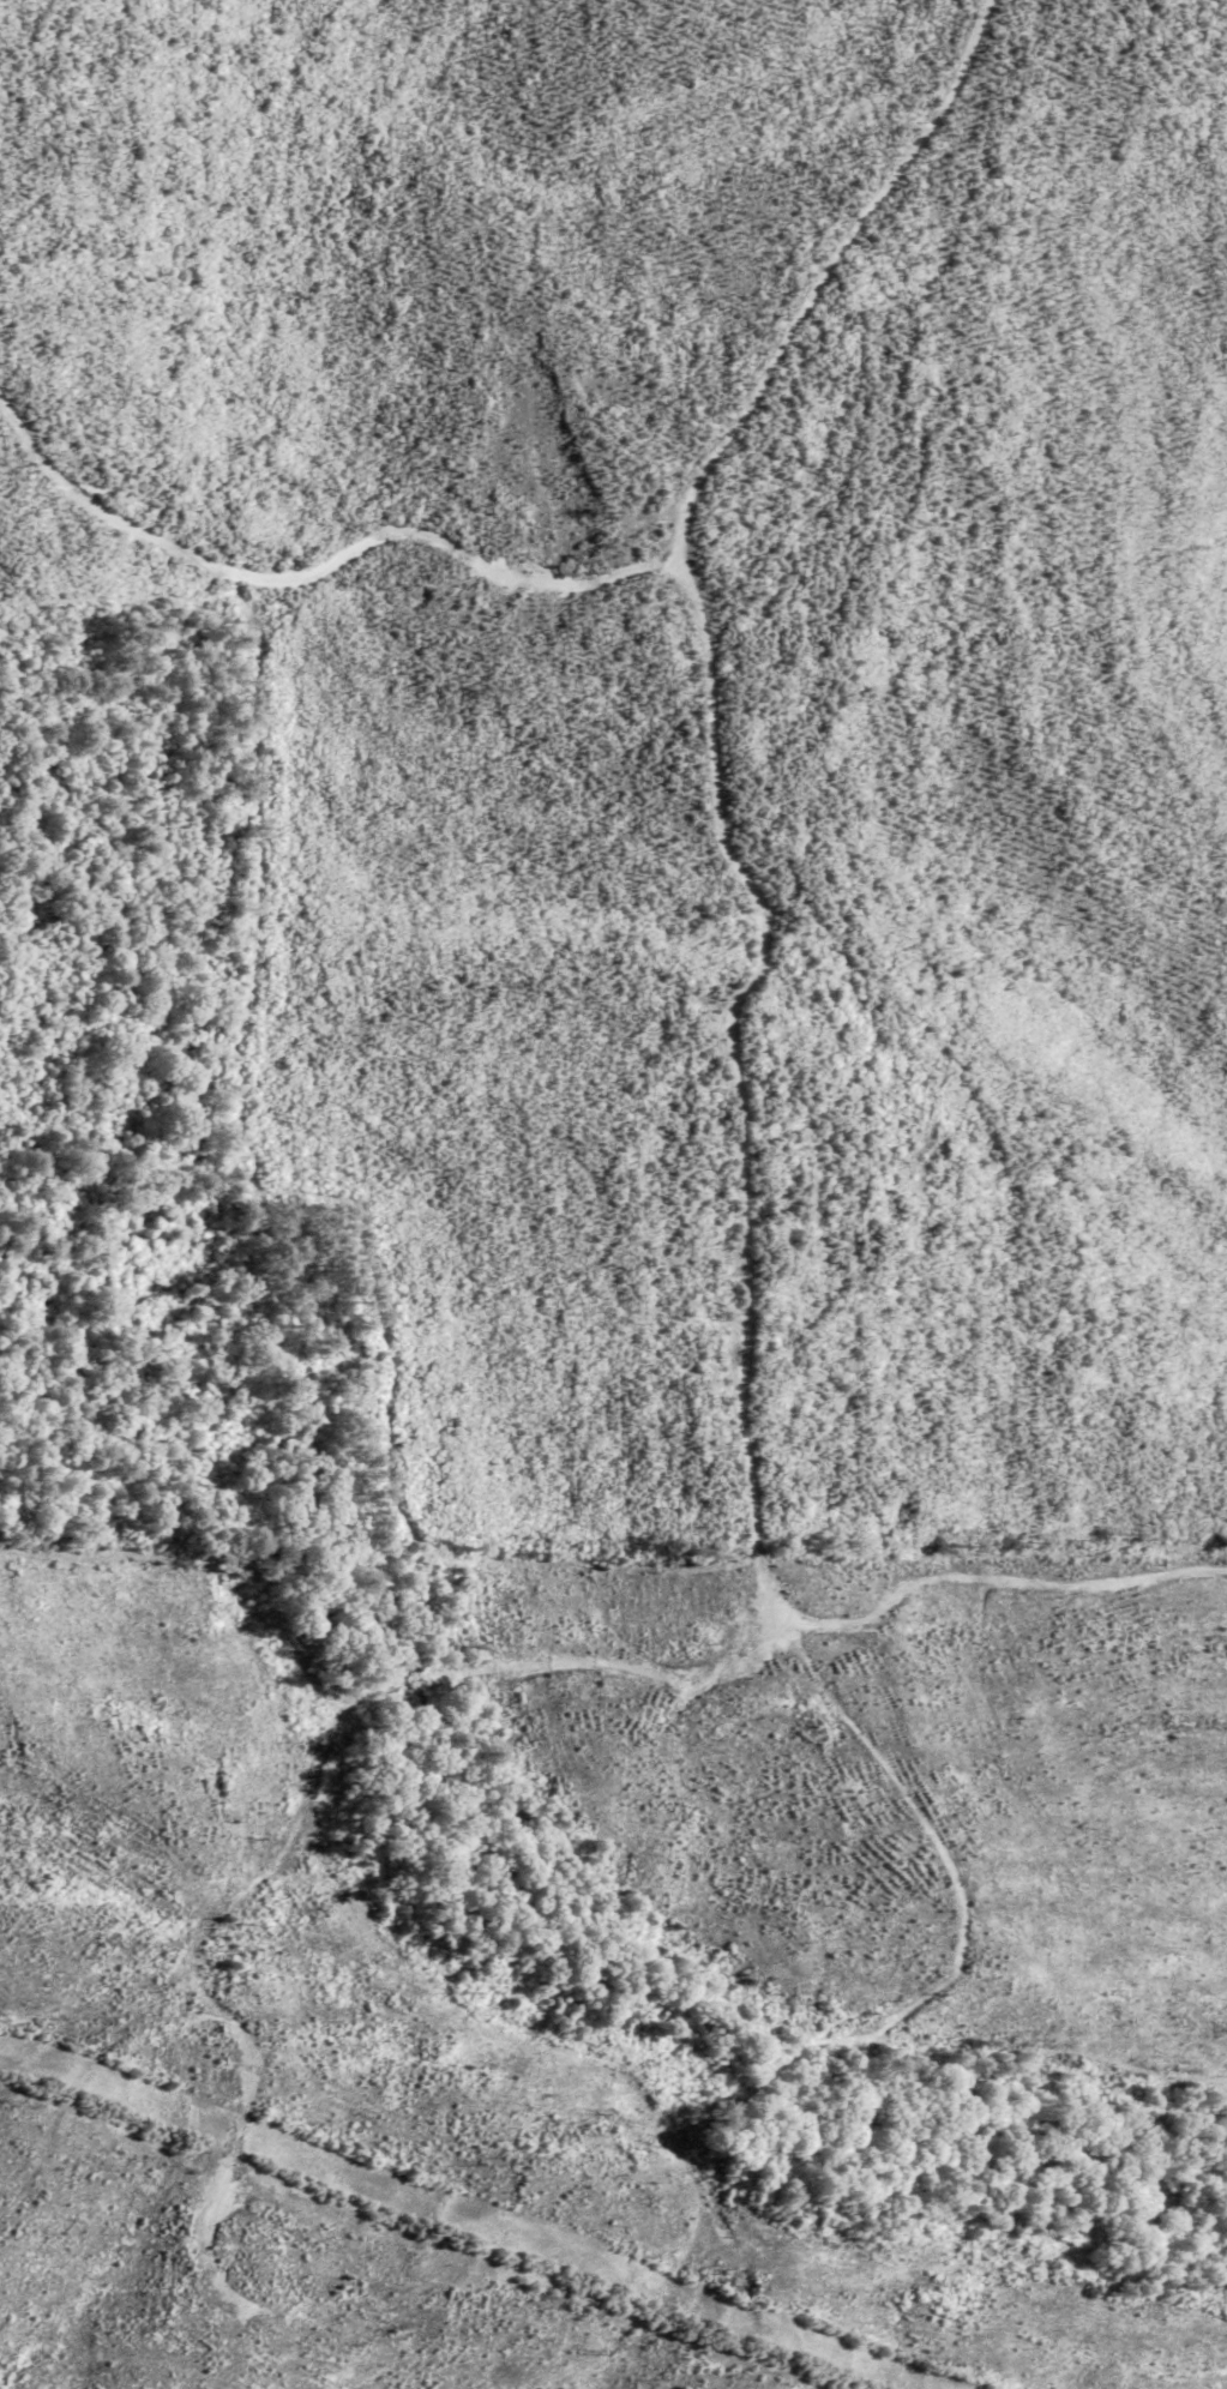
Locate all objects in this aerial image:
road: (699, 449)

